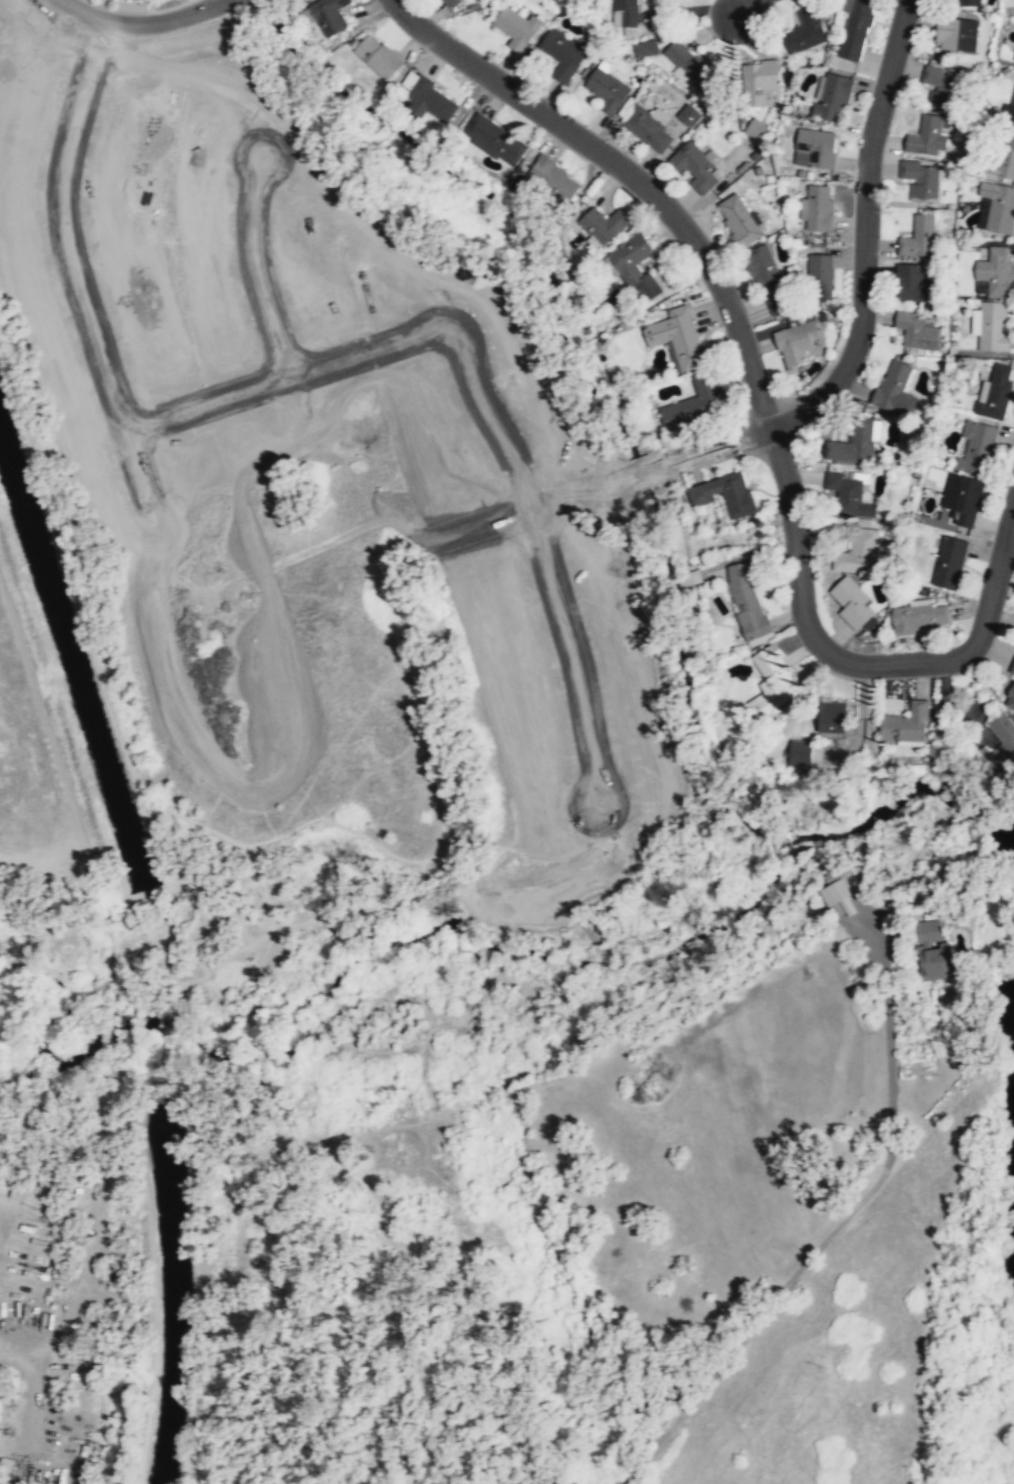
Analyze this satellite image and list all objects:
building: (448, 2)
building: (967, 3)
road: (756, 11)
building: (625, 13)
building: (328, 15)
building: (518, 26)
road: (153, 28)
building: (855, 28)
building: (805, 31)
building: (956, 35)
building: (646, 47)
building: (562, 53)
building: (378, 56)
building: (1013, 58)
building: (691, 66)
building: (760, 84)
building: (606, 87)
building: (940, 89)
building: (431, 98)
building: (831, 98)
building: (1007, 109)
building: (686, 114)
building: (753, 128)
building: (648, 129)
building: (927, 136)
building: (494, 140)
building: (817, 148)
building: (1002, 159)
building: (695, 166)
road: (629, 175)
building: (554, 178)
building: (921, 181)
building: (818, 208)
building: (997, 209)
building: (738, 220)
building: (602, 225)
road: (872, 238)
building: (918, 238)
building: (631, 263)
building: (995, 272)
building: (819, 277)
building: (769, 281)
building: (912, 284)
building: (993, 328)
building: (917, 332)
building: (679, 338)
building: (795, 344)
building: (895, 389)
building: (996, 391)
building: (696, 403)
building: (856, 444)
building: (975, 448)
building: (723, 494)
building: (851, 496)
building: (965, 501)
building: (859, 553)
building: (949, 563)
building: (746, 602)
building: (852, 603)
building: (921, 619)
road: (847, 665)
building: (1012, 670)
building: (775, 680)
building: (1010, 700)
building: (832, 719)
building: (906, 724)
building: (1002, 739)
building: (800, 754)
building: (833, 888)
building: (932, 952)
road: (836, 1225)
building: (2, 1402)

